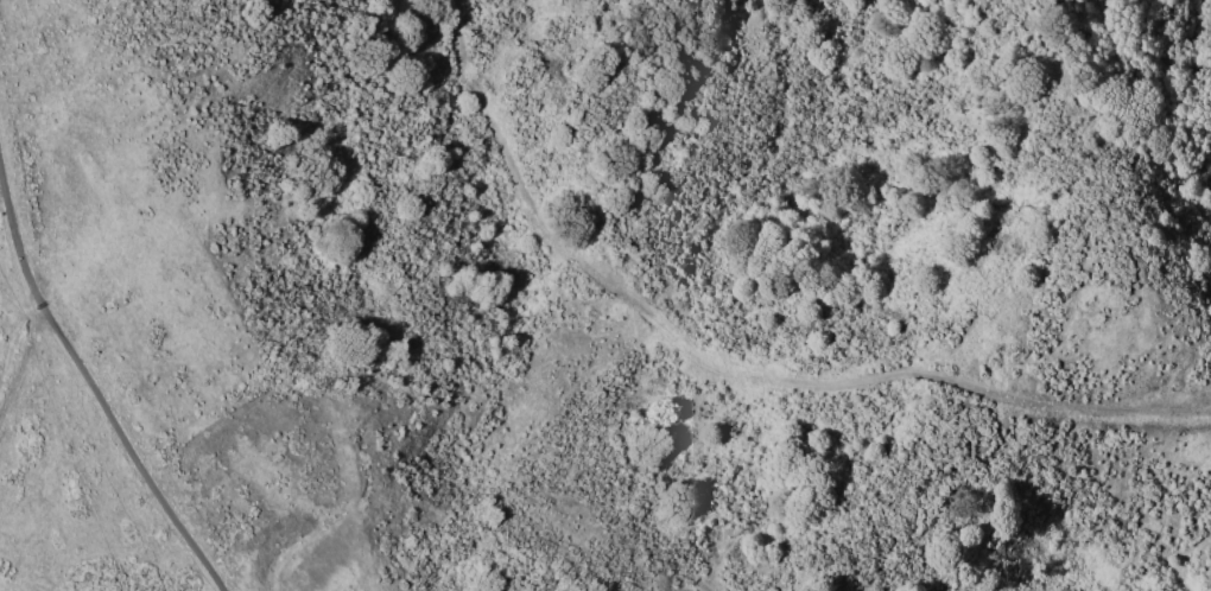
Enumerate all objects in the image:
road: (17, 268)
road: (731, 370)
road: (93, 387)

